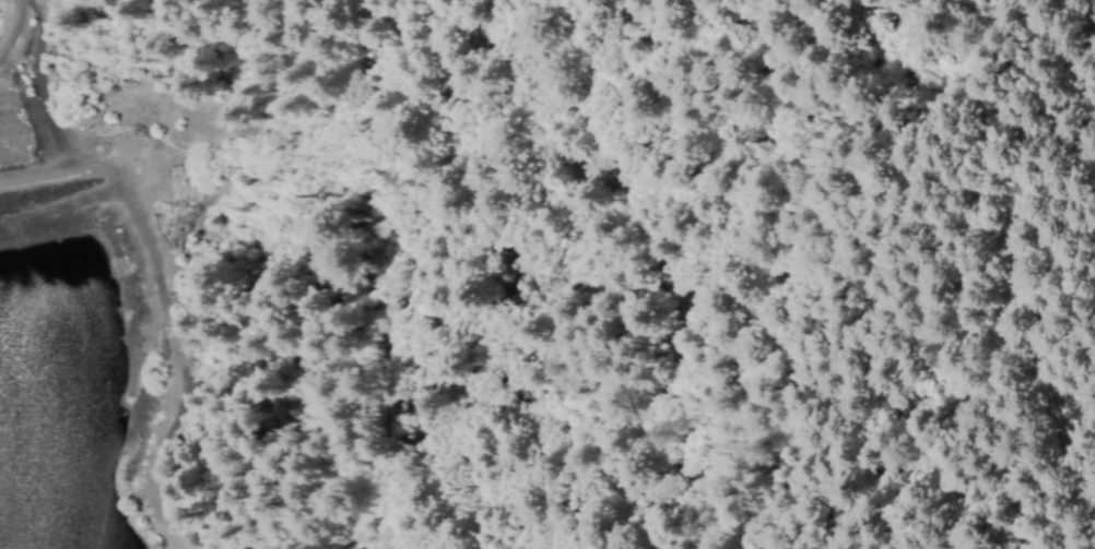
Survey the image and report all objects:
road: (12, 27)
road: (2, 43)
road: (46, 85)
dam: (101, 260)
road: (1015, 267)
road: (165, 307)

